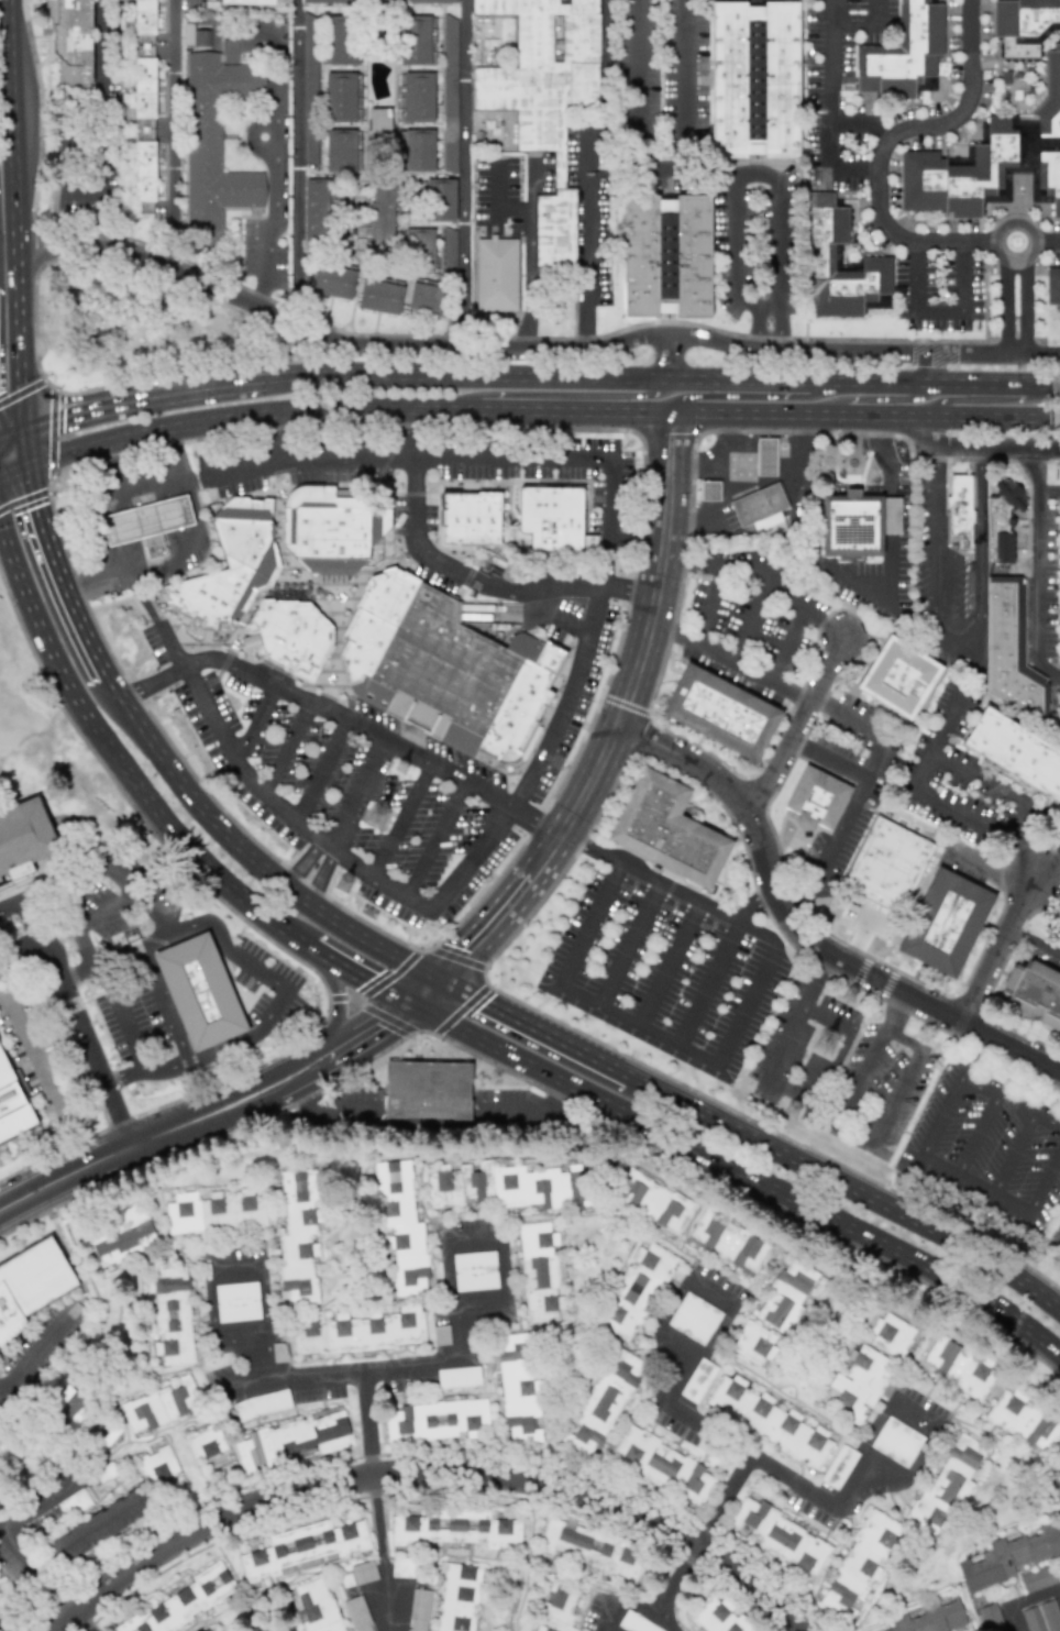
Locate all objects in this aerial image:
building: (247, 1)
building: (328, 1)
building: (378, 1)
building: (431, 1)
building: (1025, 25)
road: (868, 30)
building: (195, 36)
building: (341, 40)
building: (71, 41)
building: (416, 41)
building: (904, 53)
building: (144, 69)
building: (754, 79)
road: (830, 80)
road: (687, 85)
building: (309, 89)
building: (450, 93)
building: (341, 96)
building: (416, 97)
building: (544, 99)
road: (634, 110)
building: (379, 119)
road: (97, 121)
road: (862, 125)
road: (170, 131)
building: (217, 135)
road: (276, 142)
road: (887, 143)
building: (418, 150)
building: (342, 151)
road: (295, 159)
building: (993, 161)
road: (854, 165)
road: (709, 172)
road: (731, 173)
road: (463, 174)
building: (144, 176)
building: (440, 199)
building: (316, 209)
building: (382, 214)
road: (18, 220)
road: (583, 239)
road: (1048, 241)
road: (529, 242)
road: (1036, 242)
building: (420, 246)
building: (819, 250)
building: (449, 251)
building: (665, 255)
building: (496, 274)
building: (332, 282)
building: (1052, 286)
road: (236, 293)
building: (380, 296)
building: (428, 298)
road: (1002, 305)
road: (1024, 307)
road: (942, 315)
road: (753, 327)
road: (783, 327)
road: (1048, 342)
road: (755, 349)
road: (666, 359)
road: (934, 370)
road: (663, 382)
road: (561, 395)
road: (748, 396)
road: (141, 398)
road: (986, 399)
road: (881, 400)
road: (539, 409)
road: (932, 429)
road: (532, 434)
road: (274, 439)
traffic signals: (22, 441)
road: (11, 442)
road: (995, 445)
building: (768, 456)
road: (438, 459)
road: (728, 488)
building: (710, 492)
road: (104, 495)
building: (758, 504)
building: (959, 509)
building: (468, 520)
building: (549, 520)
building: (1003, 520)
gas station: (147, 522)
road: (891, 522)
building: (146, 524)
building: (858, 524)
building: (330, 533)
road: (636, 548)
road: (180, 550)
road: (54, 562)
road: (1040, 565)
building: (227, 570)
road: (718, 576)
road: (451, 582)
road: (784, 597)
road: (550, 618)
road: (750, 625)
building: (369, 633)
building: (288, 636)
road: (787, 648)
road: (971, 650)
building: (1011, 650)
road: (729, 663)
building: (898, 676)
road: (168, 680)
building: (462, 683)
road: (654, 687)
road: (228, 694)
road: (568, 702)
road: (625, 705)
building: (720, 712)
road: (618, 721)
road: (798, 724)
road: (255, 725)
building: (1058, 734)
road: (937, 738)
road: (386, 745)
road: (286, 751)
building: (1016, 752)
parking lot: (397, 757)
road: (871, 758)
road: (118, 760)
power tower: (404, 767)
road: (321, 773)
road: (356, 794)
building: (815, 798)
power tower: (386, 816)
road: (1017, 817)
road: (292, 818)
road: (401, 820)
building: (666, 829)
road: (434, 839)
road: (829, 844)
building: (23, 845)
road: (245, 855)
road: (1022, 855)
road: (1047, 862)
road: (103, 863)
road: (303, 863)
building: (886, 864)
road: (987, 870)
road: (320, 877)
power tower: (351, 883)
road: (753, 903)
road: (114, 905)
road: (537, 906)
road: (35, 918)
building: (946, 921)
road: (805, 929)
road: (860, 938)
road: (628, 943)
building: (119, 944)
road: (158, 944)
road: (1034, 944)
road: (84, 945)
road: (1000, 948)
road: (457, 957)
road: (669, 963)
road: (104, 966)
road: (355, 978)
road: (283, 984)
road: (709, 984)
road: (419, 992)
building: (200, 994)
building: (1034, 994)
power tower: (852, 995)
road: (338, 1002)
road: (166, 1003)
road: (461, 1010)
road: (895, 1011)
road: (79, 1018)
road: (387, 1018)
road: (121, 1020)
road: (530, 1026)
road: (731, 1038)
road: (30, 1043)
power tower: (833, 1045)
road: (973, 1053)
road: (146, 1071)
road: (861, 1075)
road: (45, 1076)
road: (76, 1078)
building: (427, 1090)
road: (788, 1090)
road: (894, 1102)
building: (11, 1104)
power tower: (797, 1112)
road: (207, 1115)
road: (980, 1134)
road: (923, 1150)
road: (1016, 1153)
road: (737, 1173)
road: (847, 1186)
building: (506, 1187)
building: (654, 1202)
building: (214, 1212)
building: (401, 1226)
building: (121, 1237)
building: (298, 1237)
road: (472, 1241)
building: (728, 1243)
road: (233, 1270)
building: (474, 1270)
road: (451, 1271)
building: (539, 1272)
building: (31, 1286)
road: (503, 1288)
building: (636, 1291)
road: (711, 1292)
building: (785, 1294)
building: (236, 1301)
road: (675, 1302)
road: (263, 1303)
building: (172, 1315)
road: (211, 1319)
building: (694, 1319)
road: (460, 1330)
road: (717, 1330)
building: (361, 1332)
building: (891, 1335)
road: (681, 1340)
building: (754, 1343)
road: (33, 1353)
road: (258, 1358)
building: (958, 1367)
road: (344, 1369)
road: (684, 1378)
building: (697, 1380)
building: (859, 1384)
building: (518, 1388)
road: (0, 1396)
building: (603, 1403)
building: (161, 1404)
building: (262, 1404)
road: (913, 1417)
building: (437, 1420)
road: (368, 1421)
building: (768, 1421)
building: (1024, 1421)
road: (877, 1428)
building: (294, 1439)
building: (205, 1442)
building: (896, 1442)
road: (918, 1454)
road: (751, 1456)
building: (662, 1465)
road: (882, 1465)
building: (157, 1466)
building: (839, 1466)
road: (431, 1470)
building: (104, 1472)
road: (854, 1483)
building: (947, 1484)
road: (721, 1497)
building: (74, 1502)
building: (99, 1525)
building: (456, 1528)
road: (7, 1532)
building: (781, 1536)
building: (594, 1546)
building: (303, 1547)
road: (383, 1552)
building: (1008, 1556)
building: (860, 1562)
building: (402, 1567)
building: (363, 1572)
road: (675, 1573)
building: (1038, 1578)
building: (457, 1597)
road: (1035, 1597)
building: (184, 1602)
road: (634, 1602)
building: (318, 1605)
building: (557, 1608)
building: (418, 1610)
building: (357, 1613)
road: (610, 1617)
building: (719, 1617)
building: (930, 1617)
building: (1042, 1617)
road: (665, 1618)
building: (990, 1618)
road: (1014, 1619)
road: (77, 1623)
building: (207, 1629)

